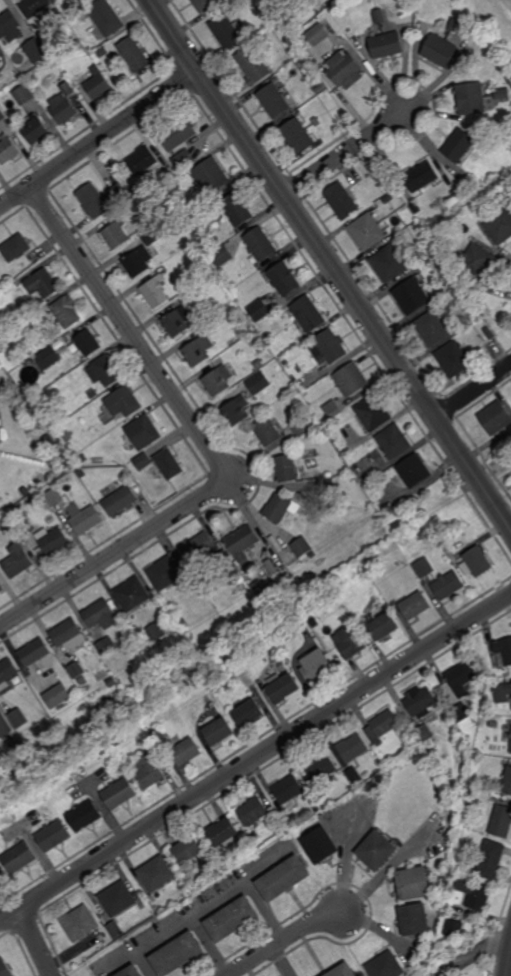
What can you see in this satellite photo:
building: (83, 0)
building: (325, 1)
building: (277, 3)
building: (206, 4)
building: (78, 5)
building: (33, 7)
building: (319, 8)
building: (378, 15)
building: (106, 17)
building: (453, 24)
building: (10, 26)
building: (227, 30)
building: (317, 34)
building: (73, 43)
building: (386, 44)
building: (34, 49)
building: (439, 50)
building: (102, 51)
building: (134, 53)
building: (302, 62)
building: (253, 64)
building: (344, 69)
building: (13, 75)
building: (0, 76)
building: (32, 78)
building: (0, 79)
building: (98, 84)
building: (320, 89)
building: (24, 93)
building: (501, 94)
building: (470, 98)
building: (274, 100)
building: (64, 103)
building: (2, 115)
building: (316, 121)
building: (35, 128)
building: (179, 134)
building: (298, 134)
road: (99, 140)
building: (458, 145)
building: (9, 149)
road: (342, 155)
building: (184, 159)
building: (142, 160)
building: (210, 175)
building: (420, 176)
building: (383, 185)
building: (117, 193)
building: (453, 194)
building: (387, 199)
building: (93, 201)
building: (341, 201)
building: (213, 205)
building: (415, 208)
building: (238, 209)
building: (185, 215)
building: (500, 227)
building: (367, 232)
building: (116, 235)
building: (154, 235)
building: (261, 244)
building: (16, 248)
building: (222, 255)
building: (138, 262)
building: (476, 262)
building: (389, 263)
building: (23, 264)
road: (331, 264)
building: (1, 277)
building: (285, 279)
building: (437, 281)
building: (42, 284)
building: (231, 284)
building: (156, 288)
building: (410, 296)
building: (259, 310)
building: (67, 311)
building: (308, 313)
building: (449, 318)
building: (178, 322)
building: (251, 327)
building: (432, 329)
building: (487, 330)
building: (0, 332)
building: (267, 336)
building: (88, 342)
building: (328, 348)
building: (199, 350)
building: (48, 358)
building: (453, 359)
building: (259, 364)
building: (1, 366)
building: (104, 371)
building: (351, 379)
building: (218, 380)
building: (258, 383)
road: (473, 391)
building: (93, 394)
building: (123, 402)
building: (333, 409)
building: (237, 411)
building: (373, 413)
building: (495, 418)
building: (73, 419)
building: (1, 424)
building: (302, 426)
building: (268, 431)
building: (143, 432)
building: (0, 435)
building: (49, 441)
road: (205, 441)
building: (393, 442)
building: (69, 456)
building: (83, 459)
building: (143, 462)
building: (169, 464)
building: (287, 468)
building: (413, 471)
building: (82, 472)
building: (328, 483)
building: (25, 491)
building: (54, 496)
building: (120, 499)
building: (279, 506)
building: (297, 507)
building: (390, 513)
building: (85, 518)
building: (11, 526)
building: (395, 527)
building: (30, 532)
building: (52, 539)
building: (243, 542)
building: (199, 546)
building: (302, 546)
building: (227, 559)
building: (17, 560)
building: (478, 564)
building: (423, 568)
building: (164, 572)
building: (236, 573)
building: (255, 584)
building: (448, 585)
building: (1, 587)
building: (132, 594)
building: (415, 606)
building: (100, 614)
building: (183, 623)
building: (381, 625)
building: (156, 632)
building: (68, 635)
building: (350, 645)
building: (106, 646)
building: (35, 652)
building: (503, 654)
building: (194, 668)
building: (316, 668)
building: (76, 670)
building: (238, 670)
building: (7, 673)
building: (461, 678)
building: (111, 683)
building: (282, 689)
building: (503, 693)
building: (57, 696)
building: (420, 701)
building: (248, 714)
building: (461, 715)
building: (2, 716)
building: (18, 717)
building: (382, 725)
building: (494, 726)
building: (143, 731)
building: (218, 732)
building: (423, 734)
building: (158, 737)
building: (510, 737)
building: (115, 740)
building: (413, 746)
building: (5, 749)
building: (353, 749)
building: (510, 749)
building: (186, 753)
road: (255, 758)
building: (476, 758)
building: (388, 760)
building: (320, 768)
building: (148, 772)
building: (354, 776)
building: (506, 782)
building: (491, 788)
building: (289, 789)
building: (119, 794)
building: (319, 796)
building: (466, 801)
building: (325, 804)
building: (316, 808)
building: (254, 812)
building: (274, 813)
building: (84, 816)
building: (501, 822)
building: (223, 833)
building: (253, 835)
building: (447, 835)
building: (53, 836)
building: (320, 846)
building: (187, 850)
building: (376, 851)
building: (18, 858)
building: (490, 860)
building: (156, 874)
building: (2, 876)
building: (284, 878)
building: (414, 884)
building: (473, 893)
building: (117, 899)
building: (413, 920)
building: (233, 921)
building: (80, 924)
building: (453, 930)
building: (115, 931)
building: (100, 939)
road: (33, 943)
road: (286, 943)
road: (473, 954)
building: (177, 955)
road: (508, 962)
building: (386, 966)
building: (5, 968)
building: (344, 971)
building: (131, 972)
road: (439, 975)

